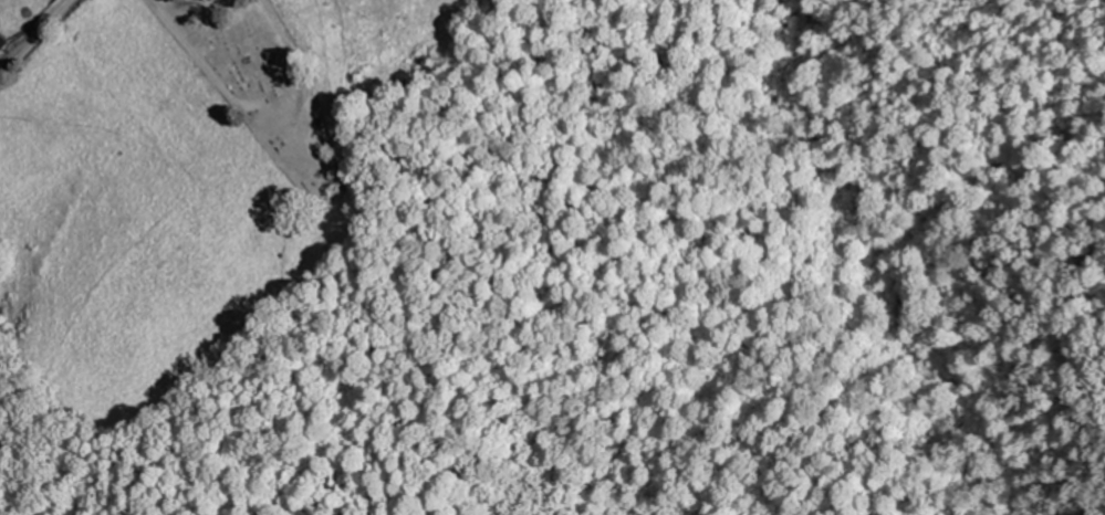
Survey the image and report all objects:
building: (6, 40)
road: (39, 40)
park: (260, 83)
road: (1072, 360)

